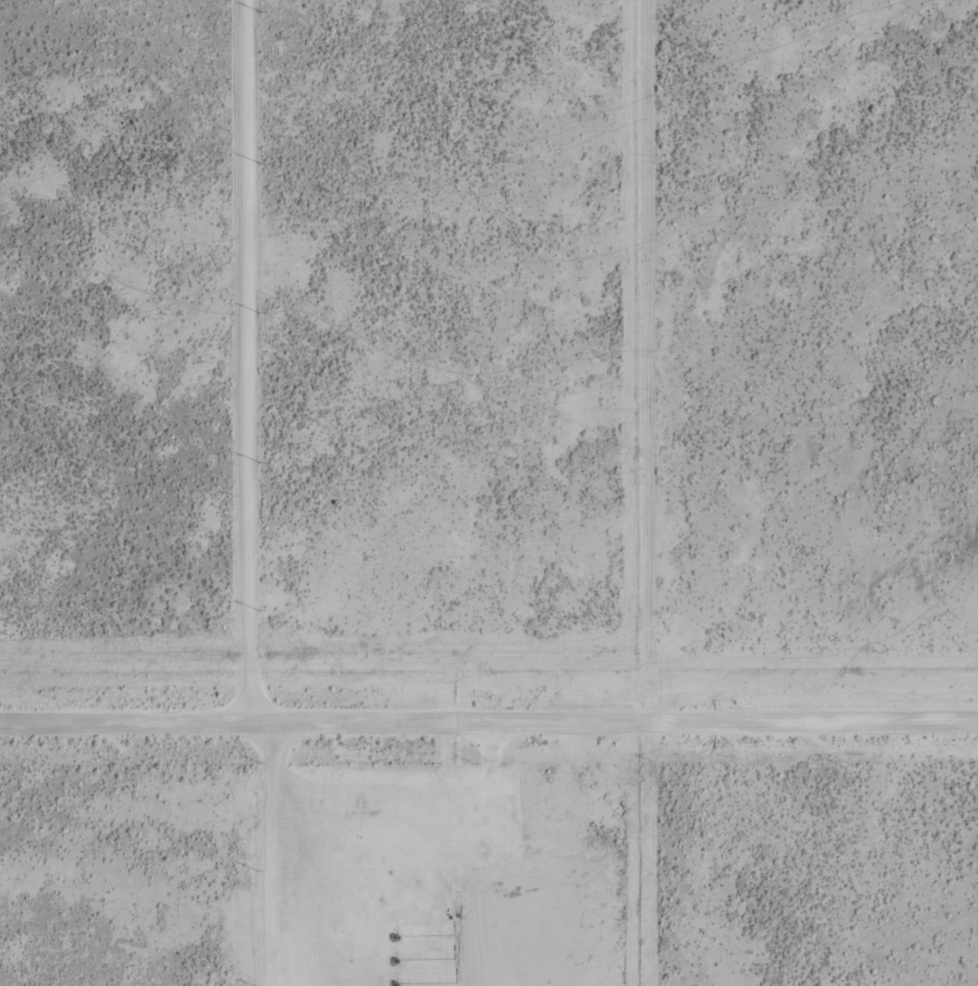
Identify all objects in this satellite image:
road: (489, 723)

